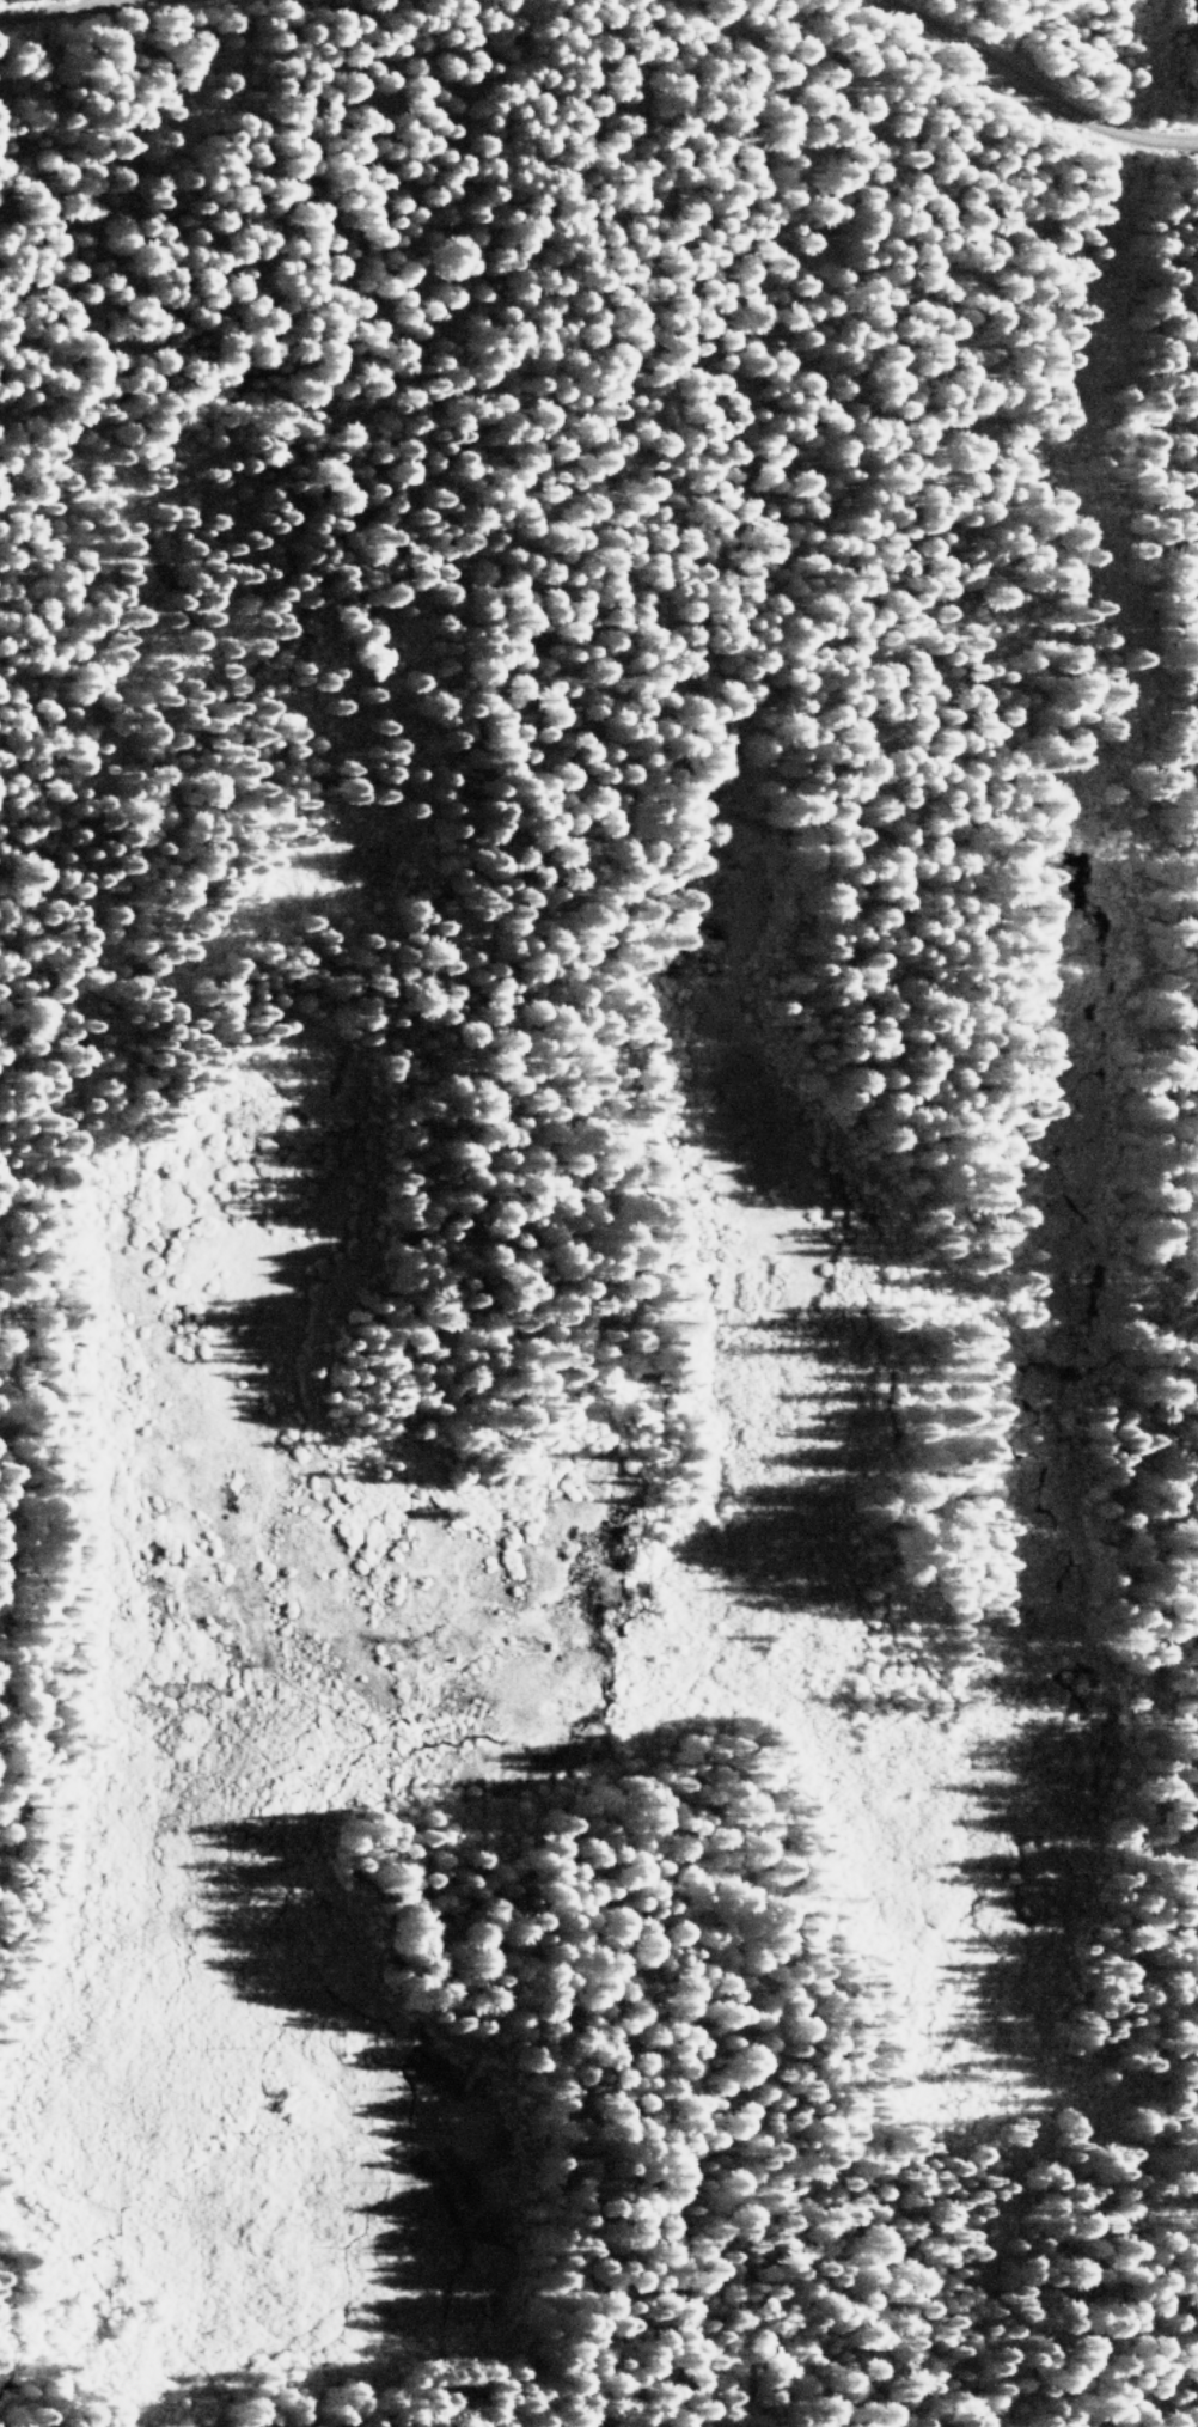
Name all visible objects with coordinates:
road: (62, 7)
road: (1025, 87)

